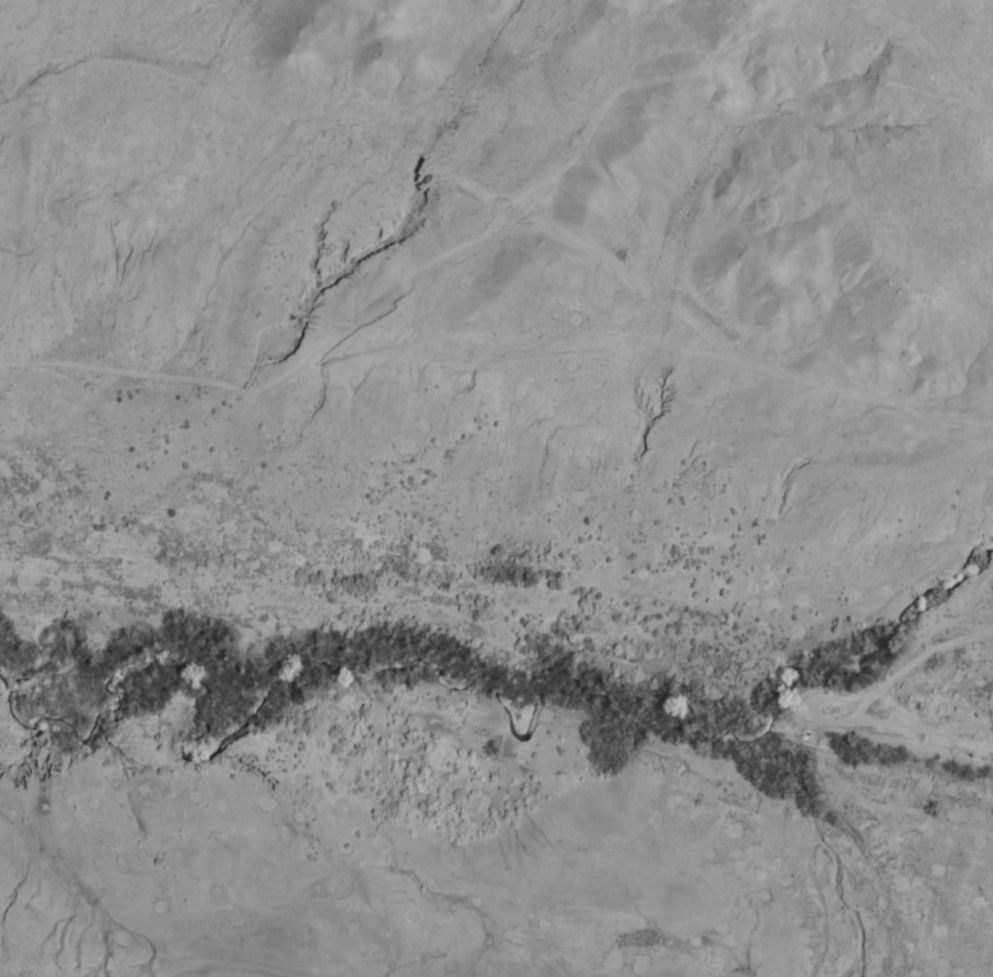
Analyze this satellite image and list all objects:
road: (496, 247)
river: (498, 649)
road: (368, 772)

